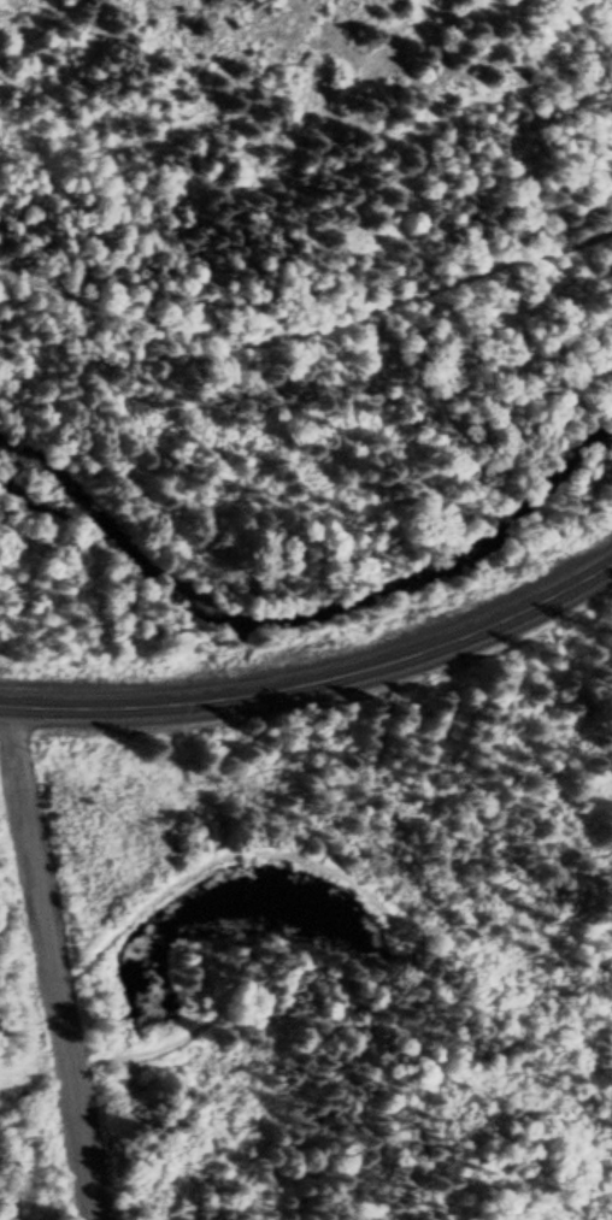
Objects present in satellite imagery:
road: (308, 343)
river: (298, 612)
road: (316, 679)
road: (51, 962)

